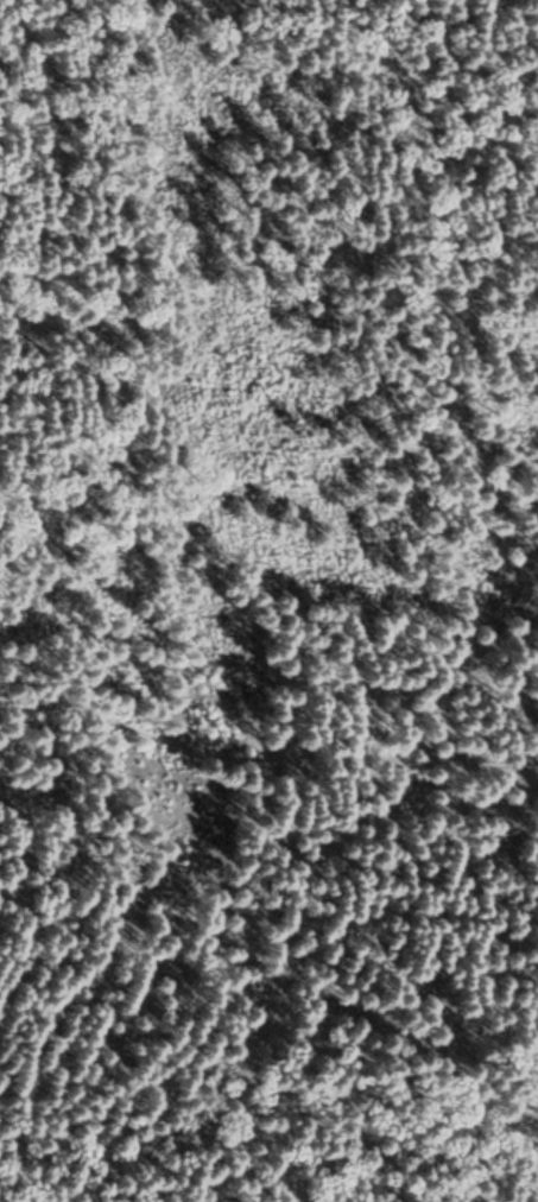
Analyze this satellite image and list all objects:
road: (264, 757)

